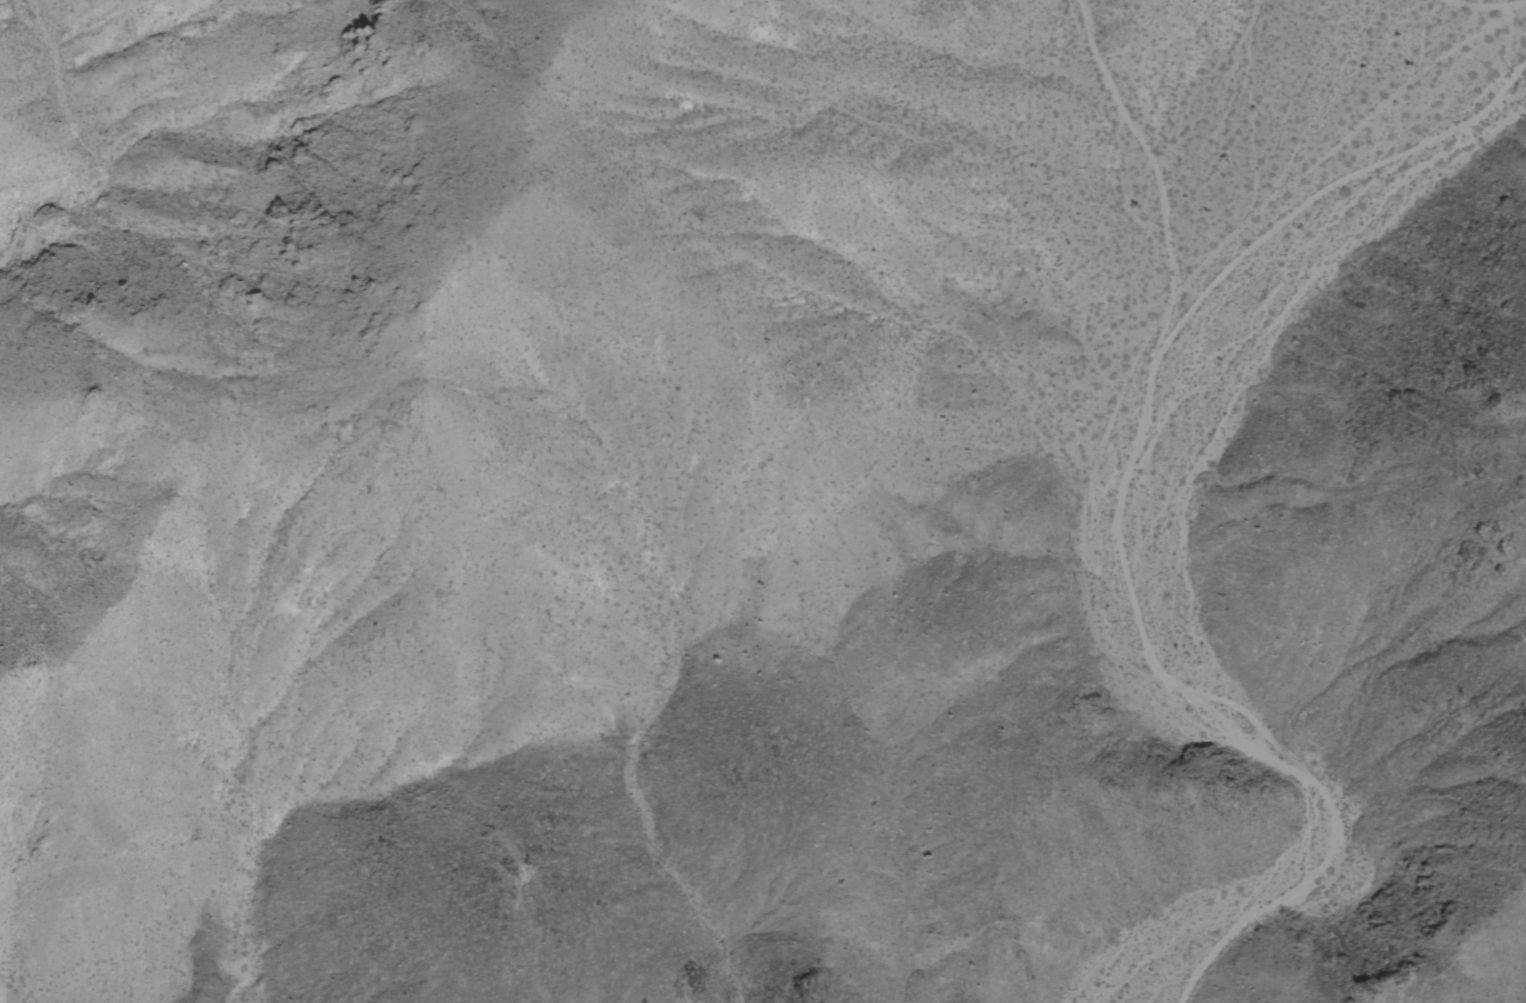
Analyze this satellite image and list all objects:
road: (1439, 24)
road: (1104, 142)
road: (1100, 497)

